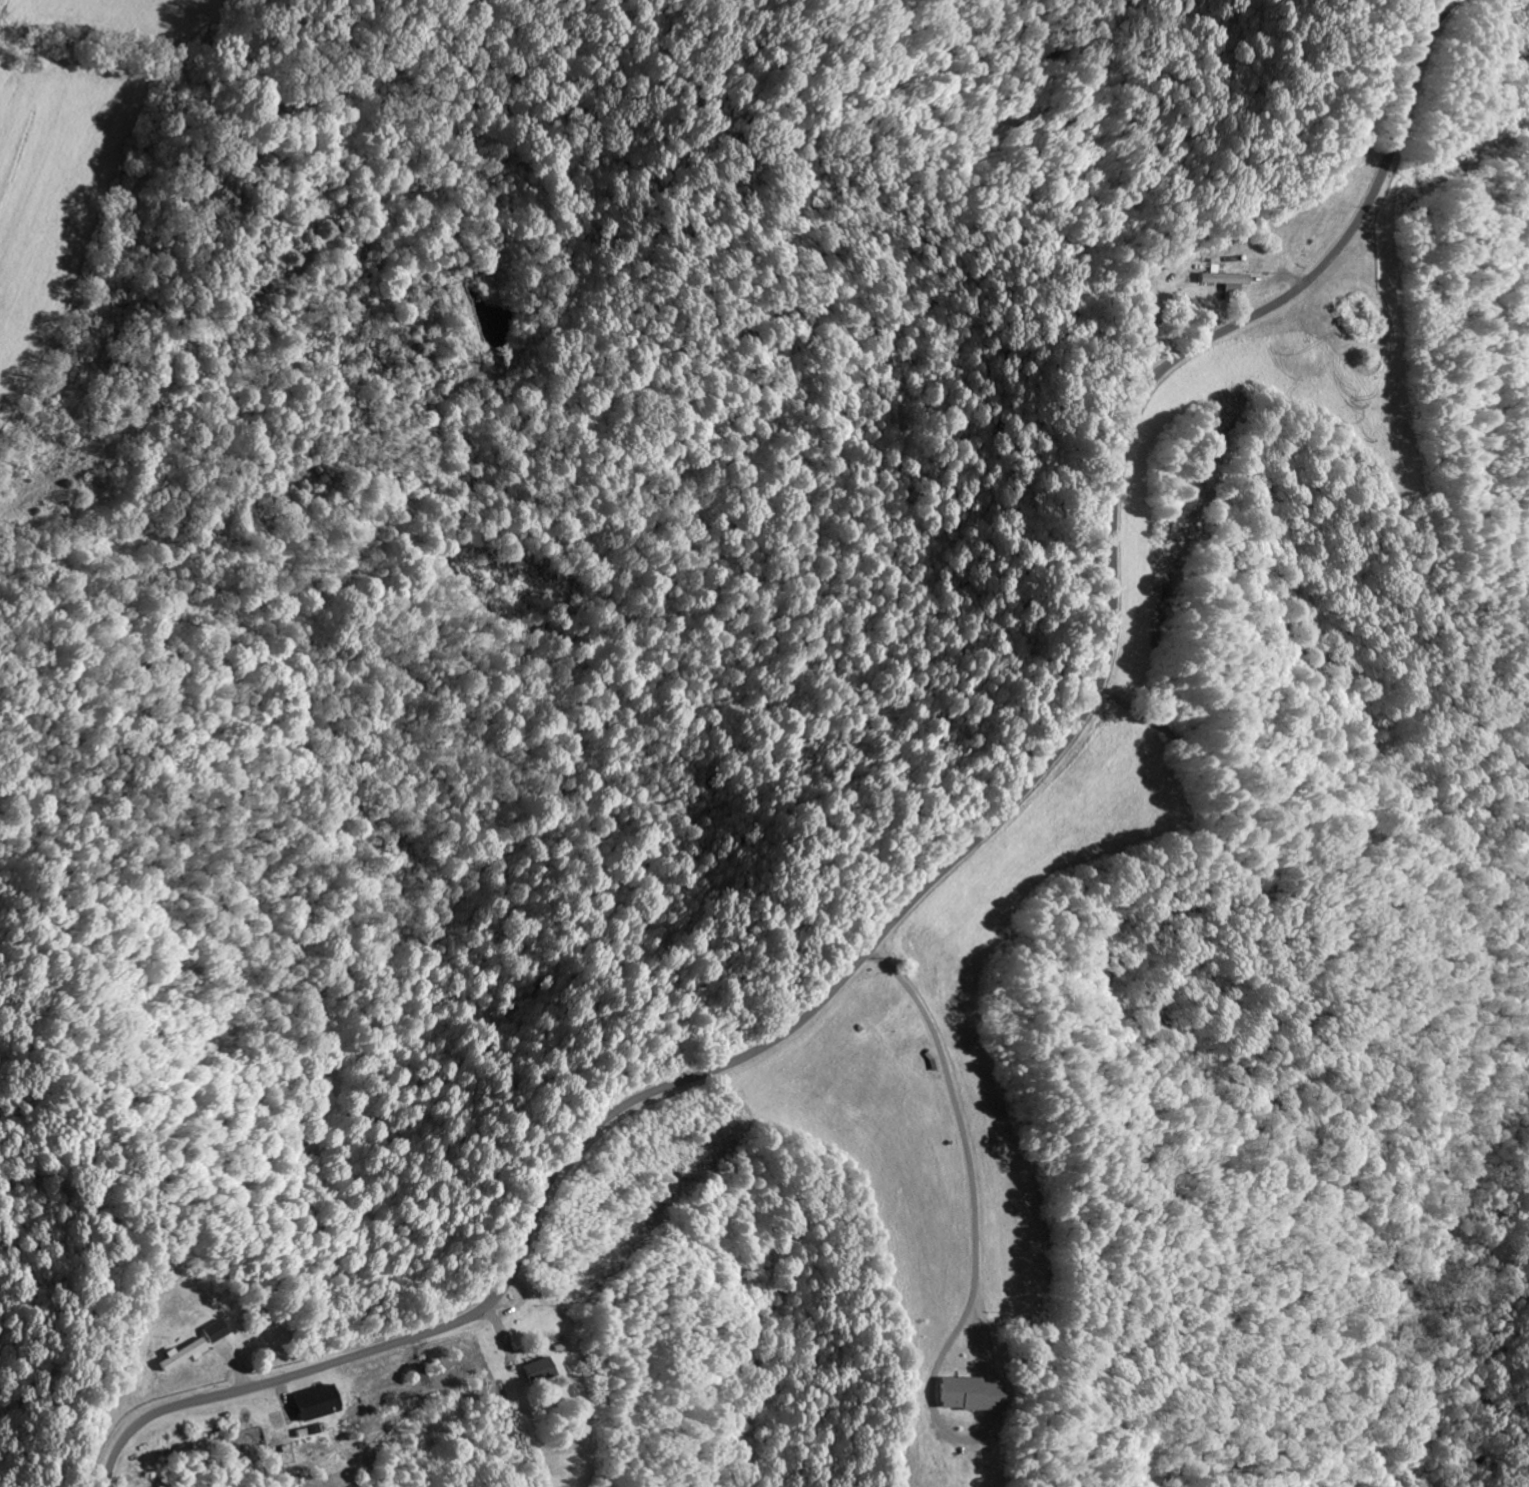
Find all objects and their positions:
road: (0, 0)
building: (1220, 280)
road: (933, 878)
building: (210, 1331)
building: (177, 1355)
building: (534, 1370)
building: (959, 1394)
building: (309, 1403)

